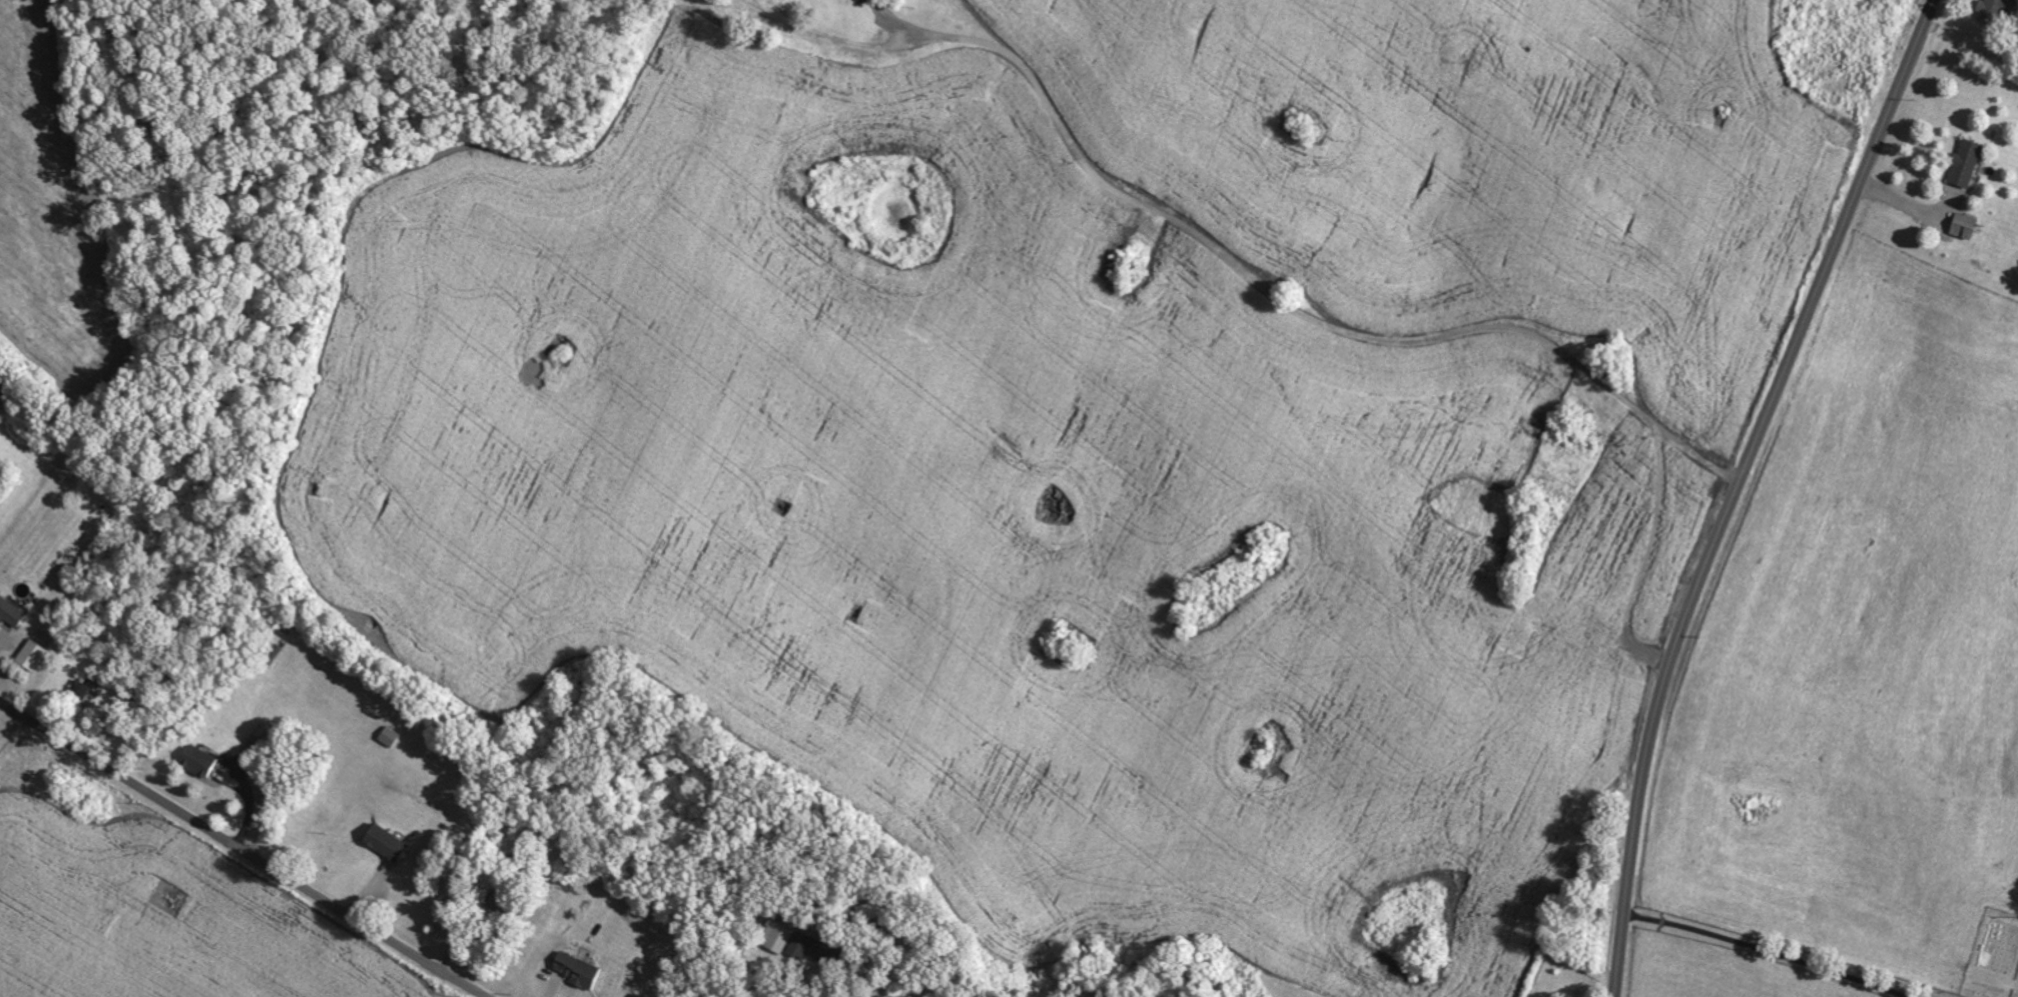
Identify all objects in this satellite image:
building: (1961, 162)
road: (1903, 205)
building: (1959, 225)
road: (1278, 296)
building: (3, 393)
road: (1735, 487)
road: (1648, 557)
building: (12, 613)
building: (33, 655)
road: (12, 725)
building: (202, 760)
building: (389, 843)
road: (241, 849)
building: (877, 910)
building: (782, 937)
building: (803, 945)
road: (1767, 950)
building: (580, 969)

